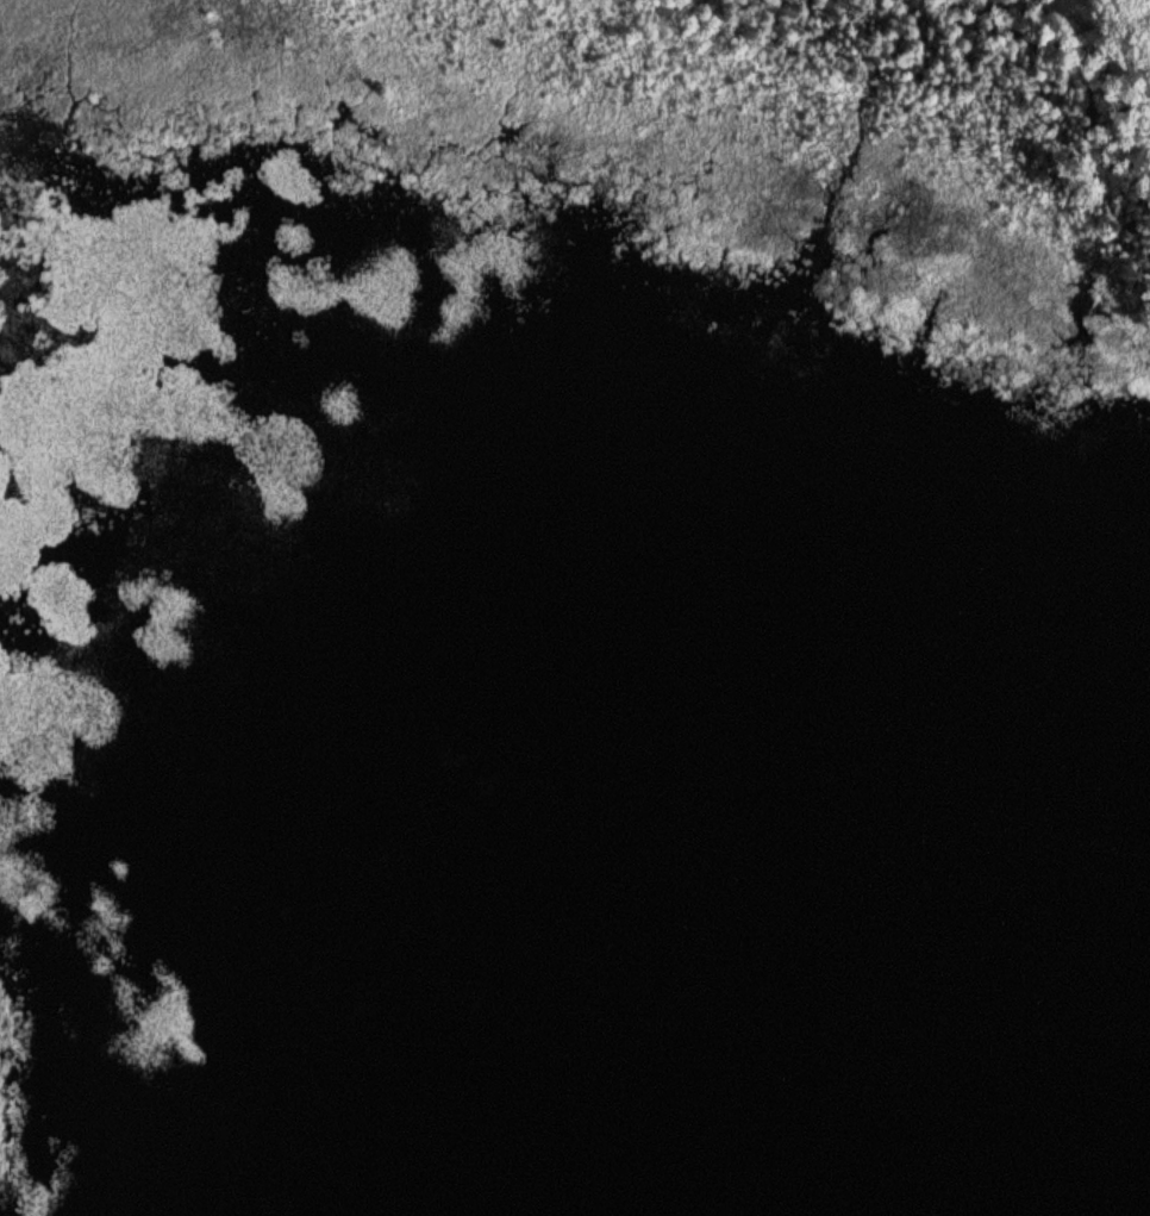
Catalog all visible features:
road: (1123, 39)

